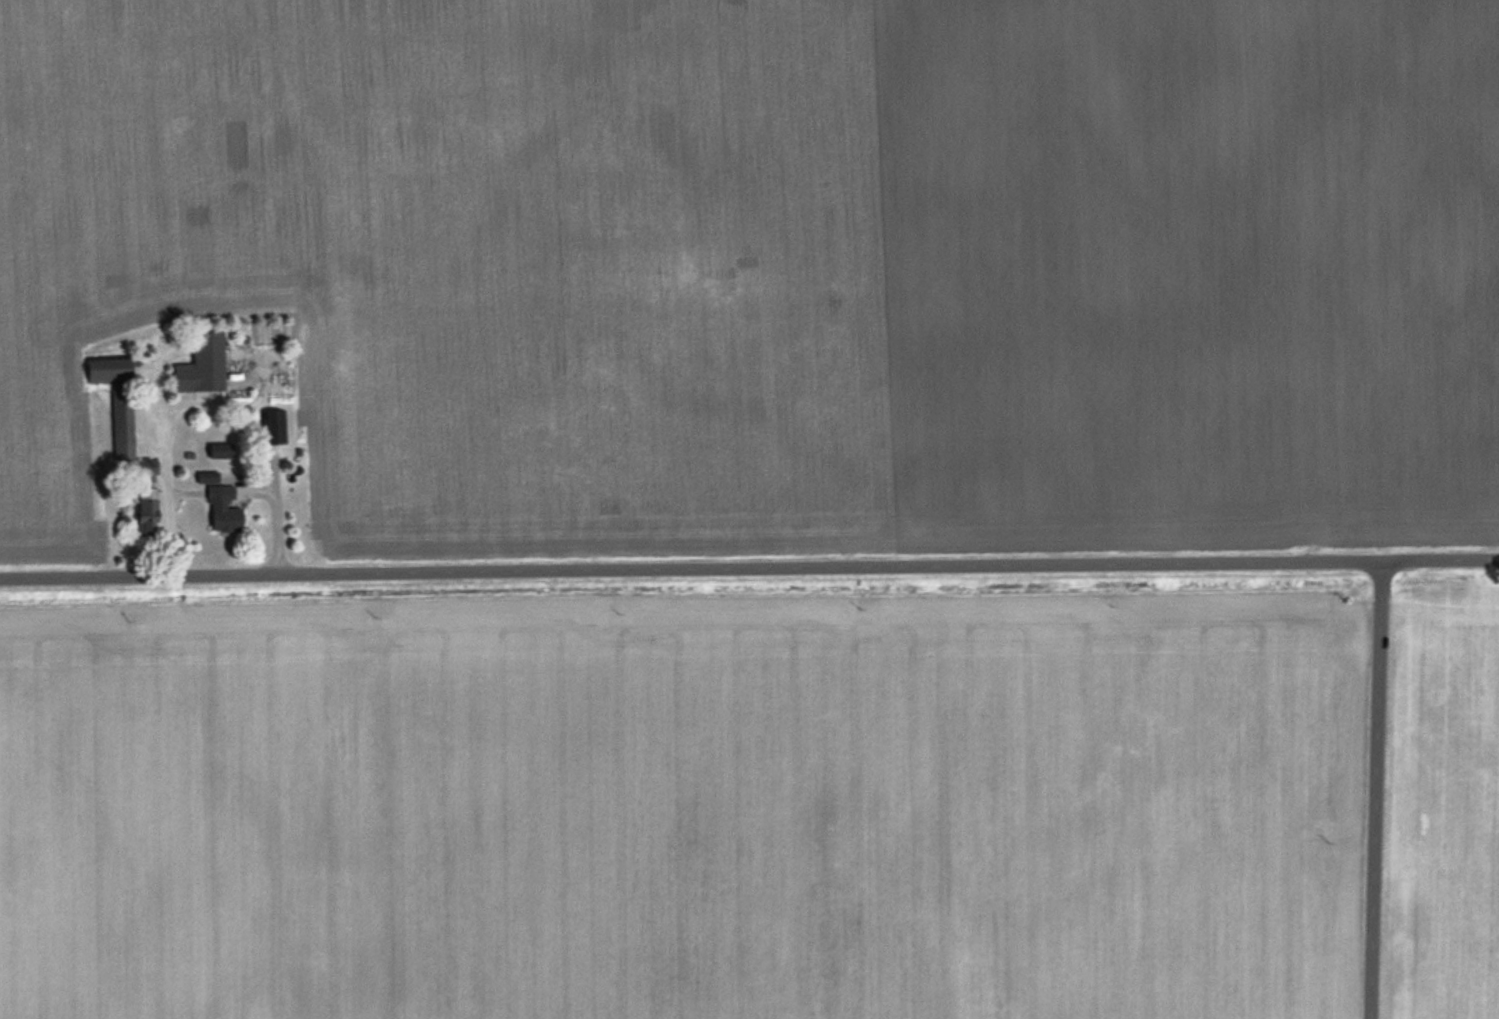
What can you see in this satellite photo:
building: (202, 364)
building: (116, 399)
building: (275, 425)
building: (220, 449)
road: (163, 471)
building: (206, 476)
building: (223, 509)
building: (146, 510)
road: (275, 512)
road: (749, 573)
road: (1378, 794)

